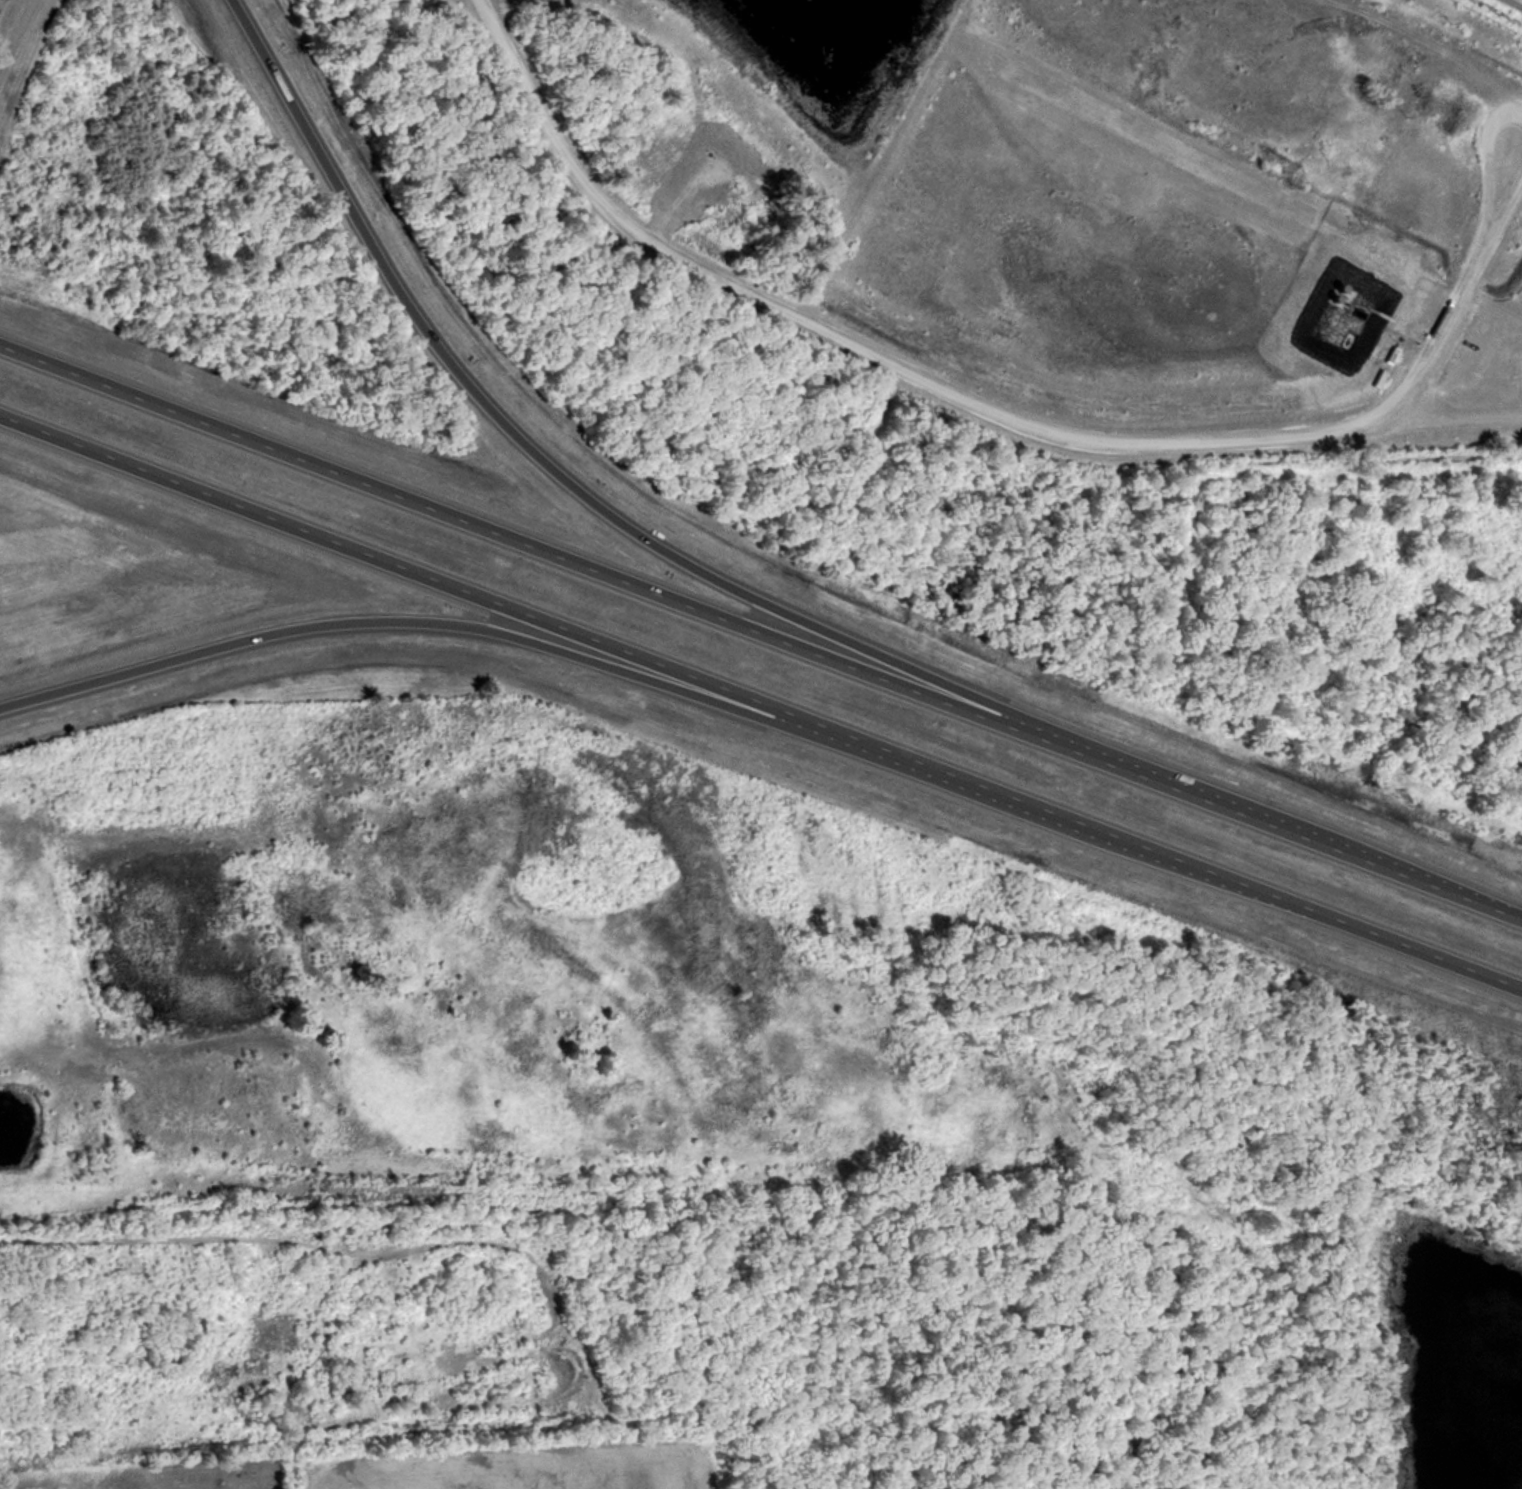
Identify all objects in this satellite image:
road: (1513, 4)
road: (1050, 431)
road: (542, 463)
road: (382, 624)
road: (761, 631)
road: (761, 704)

